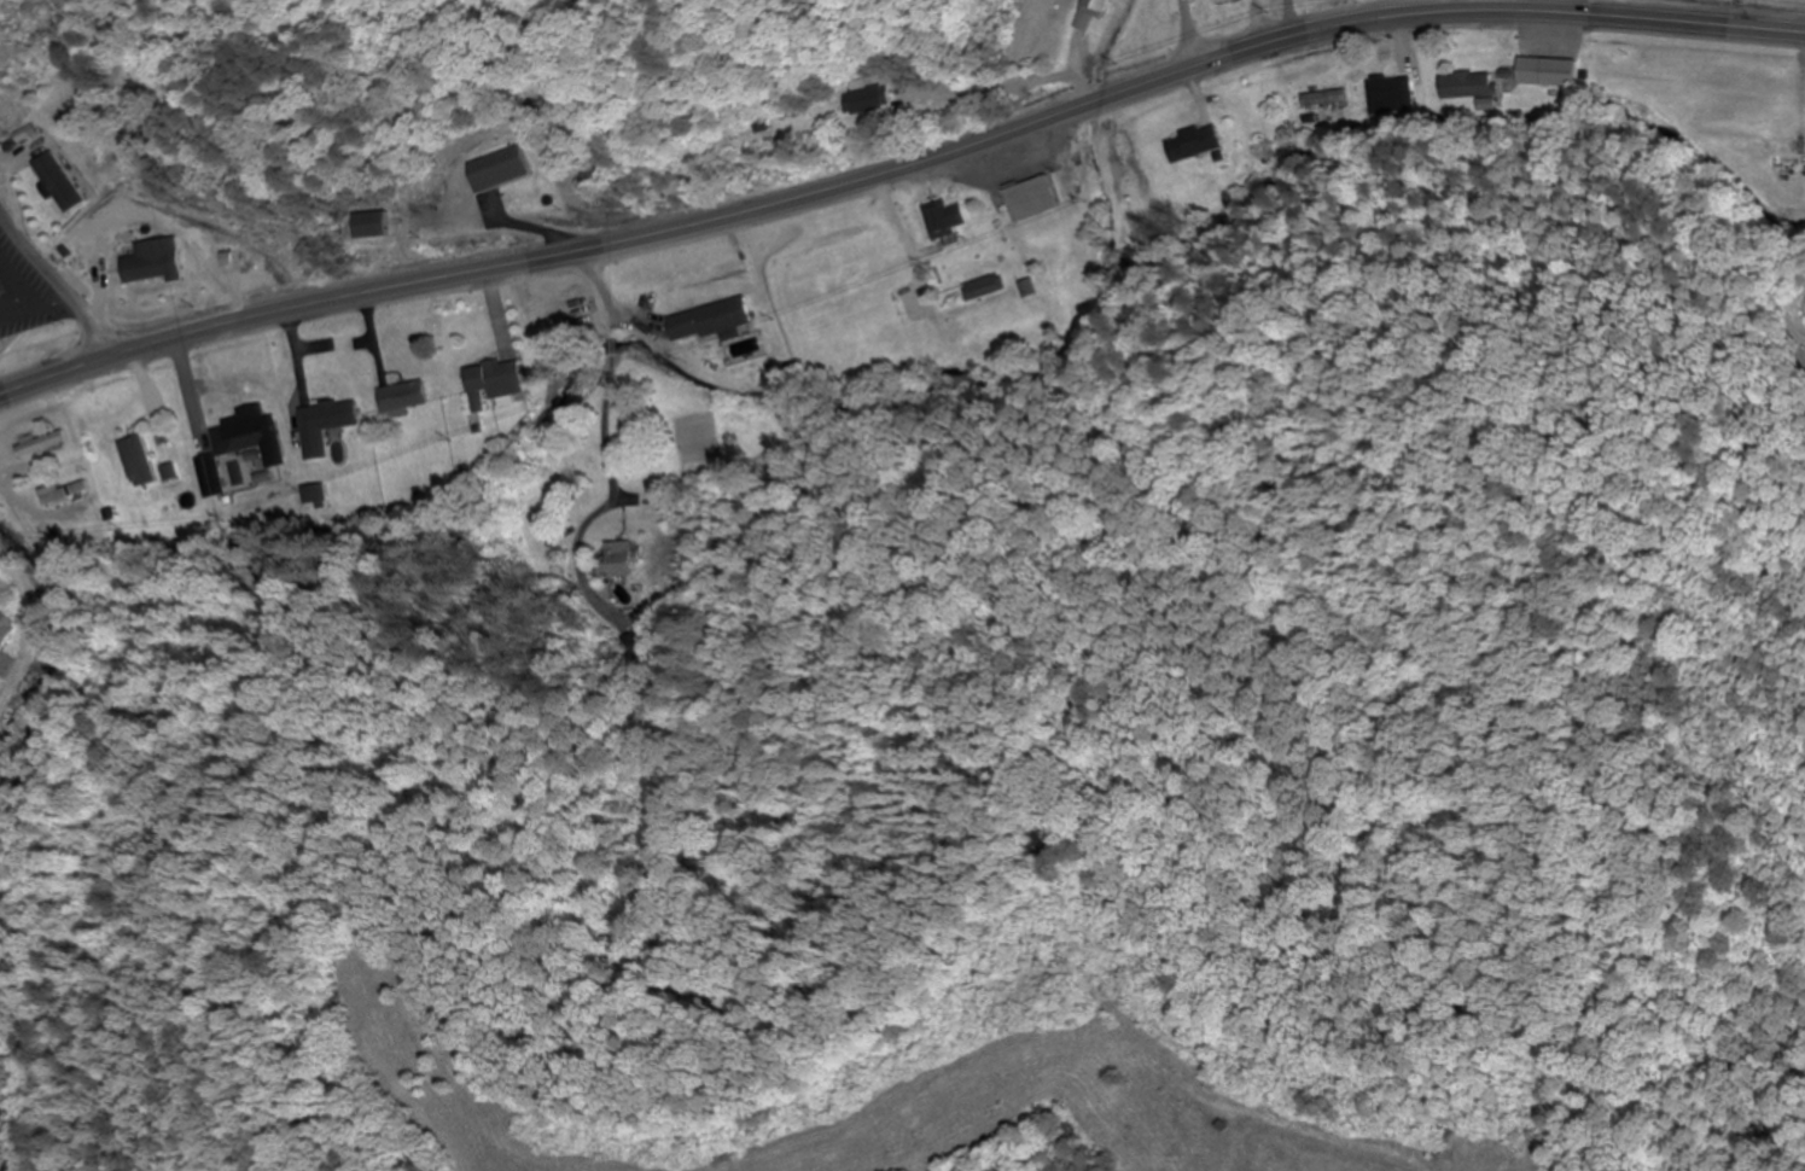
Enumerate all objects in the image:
building: (1224, 1)
building: (1095, 11)
road: (1187, 34)
building: (1547, 70)
building: (1472, 88)
building: (1391, 93)
building: (869, 97)
building: (1329, 100)
building: (1194, 142)
road: (899, 168)
building: (62, 181)
building: (522, 196)
building: (1032, 198)
building: (944, 217)
building: (377, 223)
building: (147, 264)
road: (56, 285)
building: (983, 287)
building: (708, 320)
building: (1, 331)
building: (496, 378)
building: (402, 396)
road: (623, 408)
building: (325, 425)
building: (250, 435)
building: (41, 443)
building: (139, 459)
building: (209, 467)
building: (62, 493)
building: (315, 499)
building: (622, 571)
road: (34, 627)
building: (6, 629)

